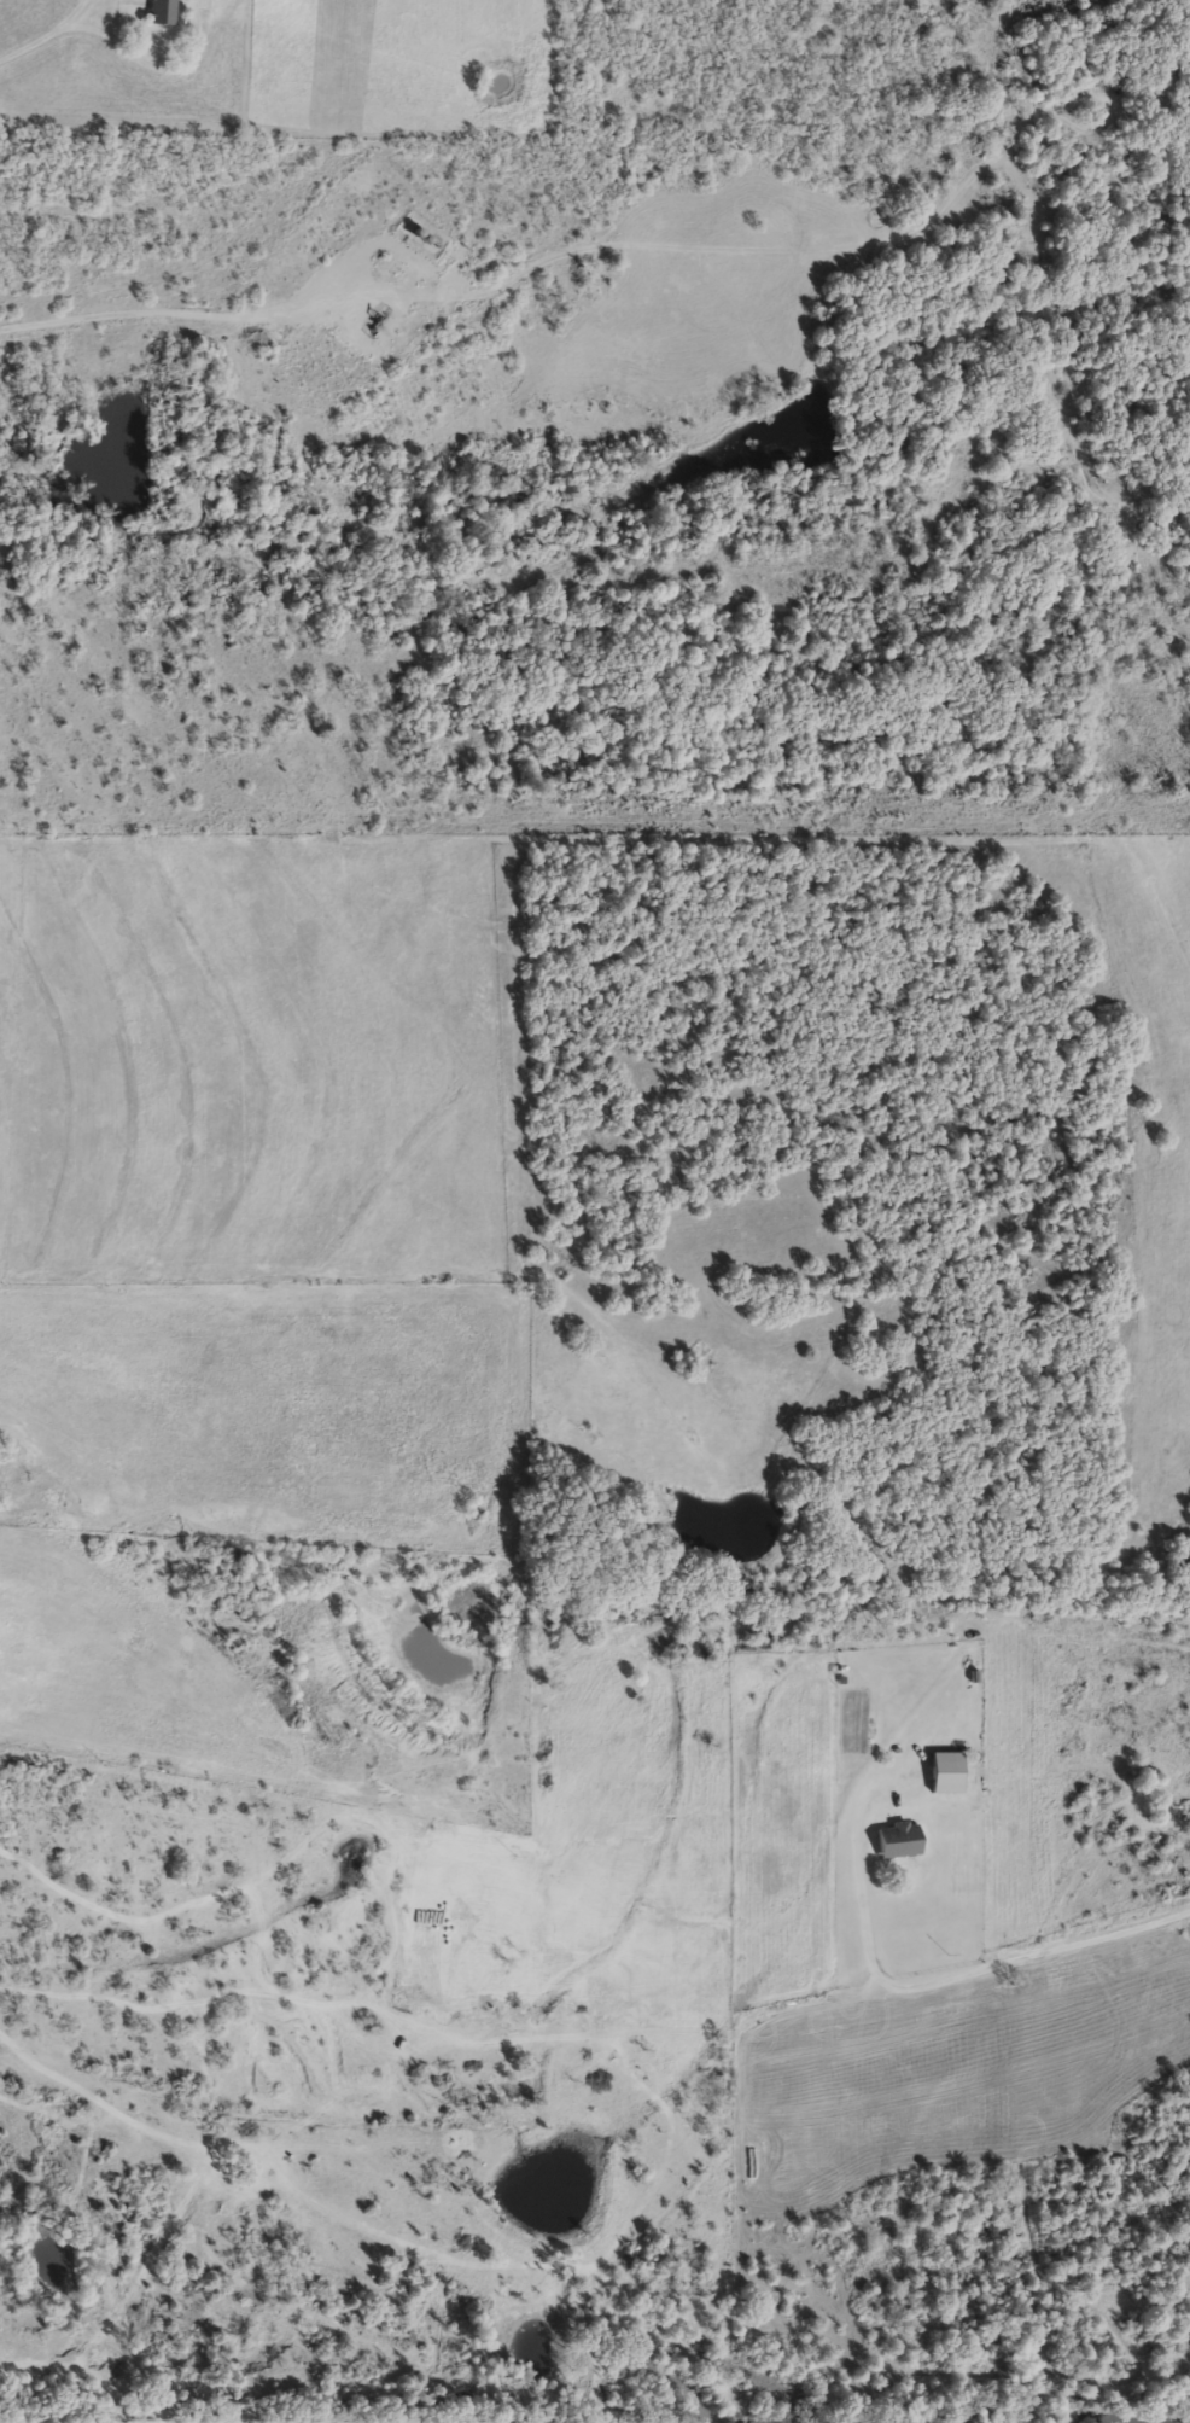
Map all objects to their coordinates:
building: (158, 11)
road: (112, 46)
road: (185, 314)
building: (941, 1771)
building: (894, 1839)
road: (941, 1984)

